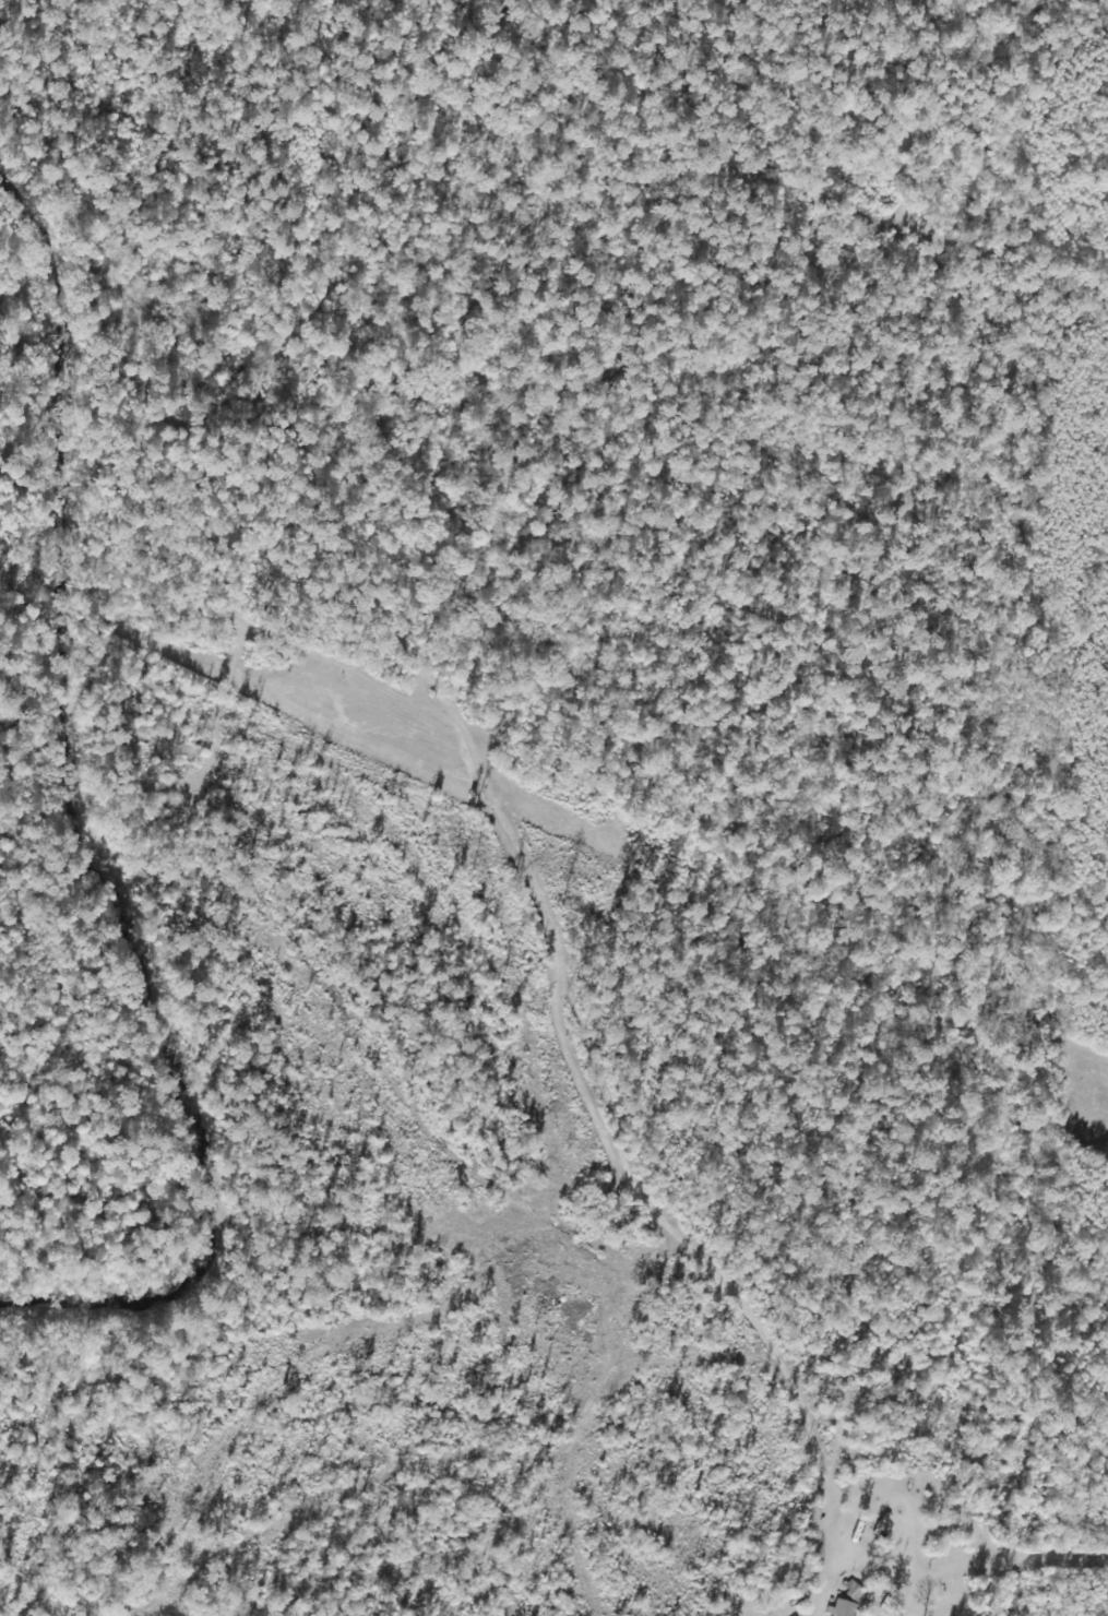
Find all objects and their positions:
building: (842, 1609)

